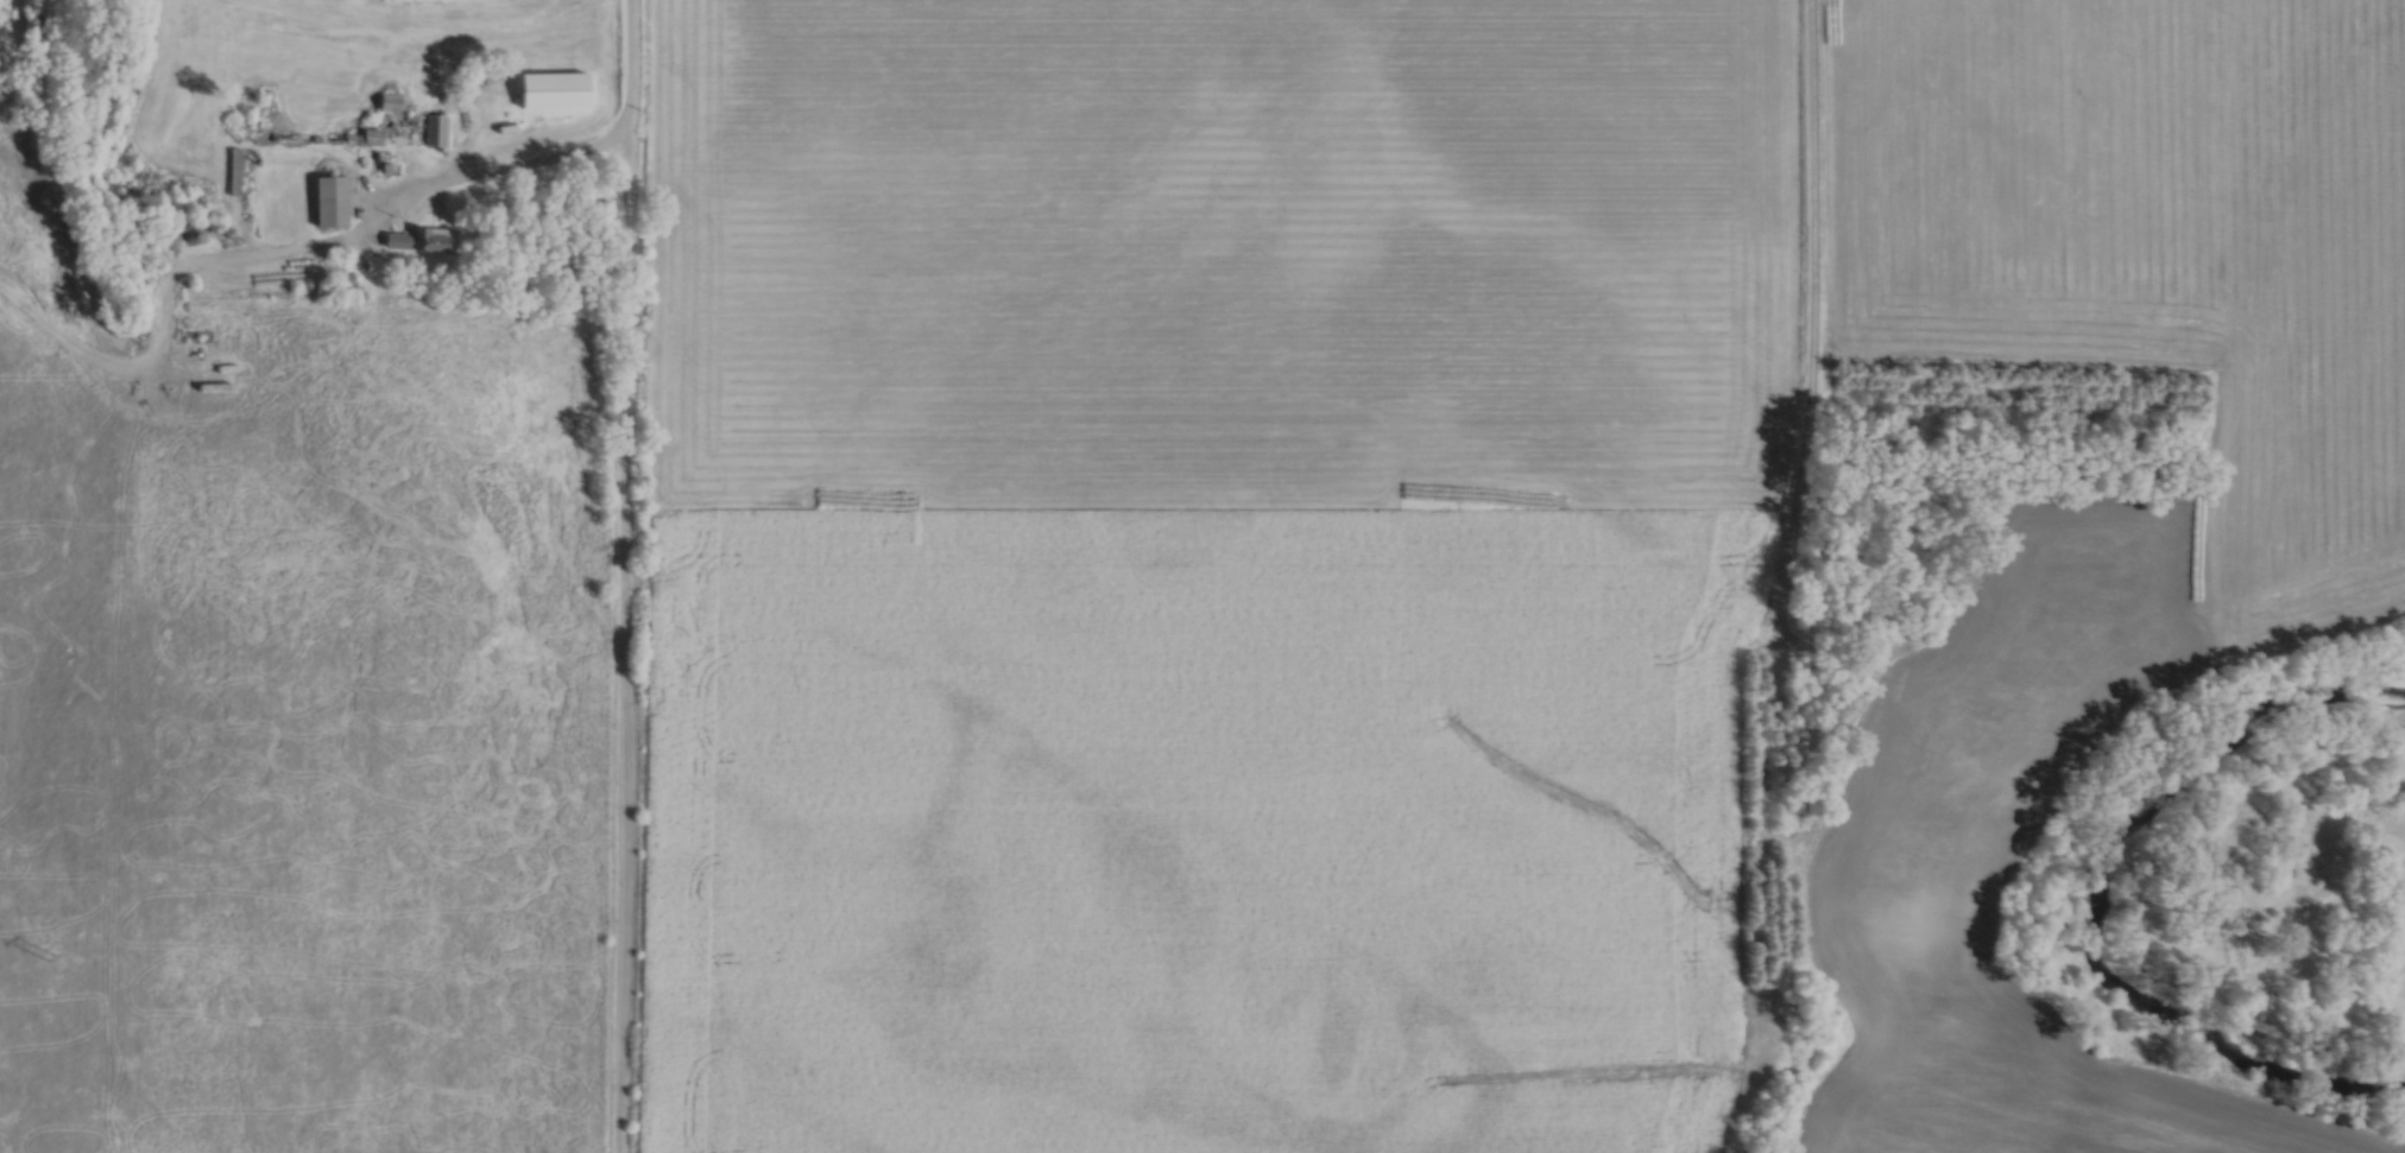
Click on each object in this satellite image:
building: (551, 88)
building: (436, 129)
road: (564, 158)
building: (329, 199)
building: (189, 233)
building: (165, 239)
building: (416, 239)
road: (1812, 376)
building: (1843, 710)
power tower: (53, 957)

